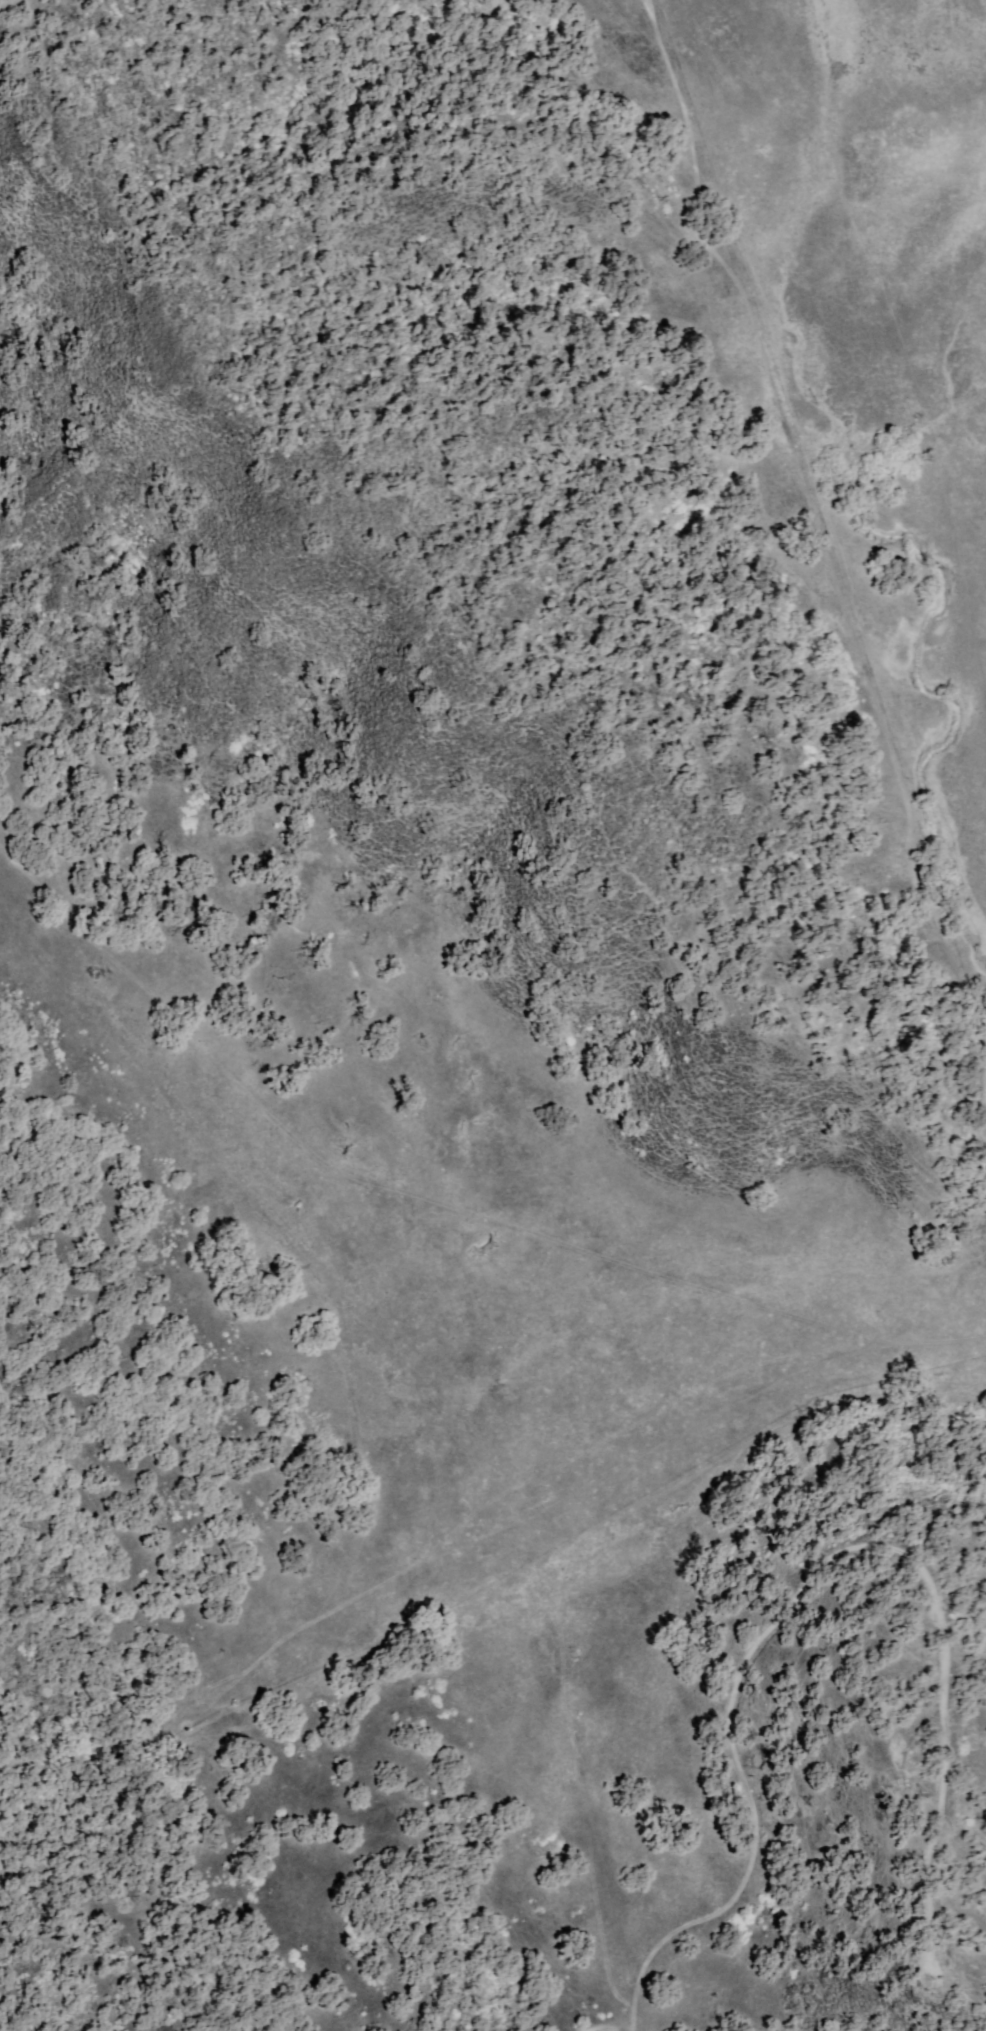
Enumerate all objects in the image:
road: (436, 1204)

